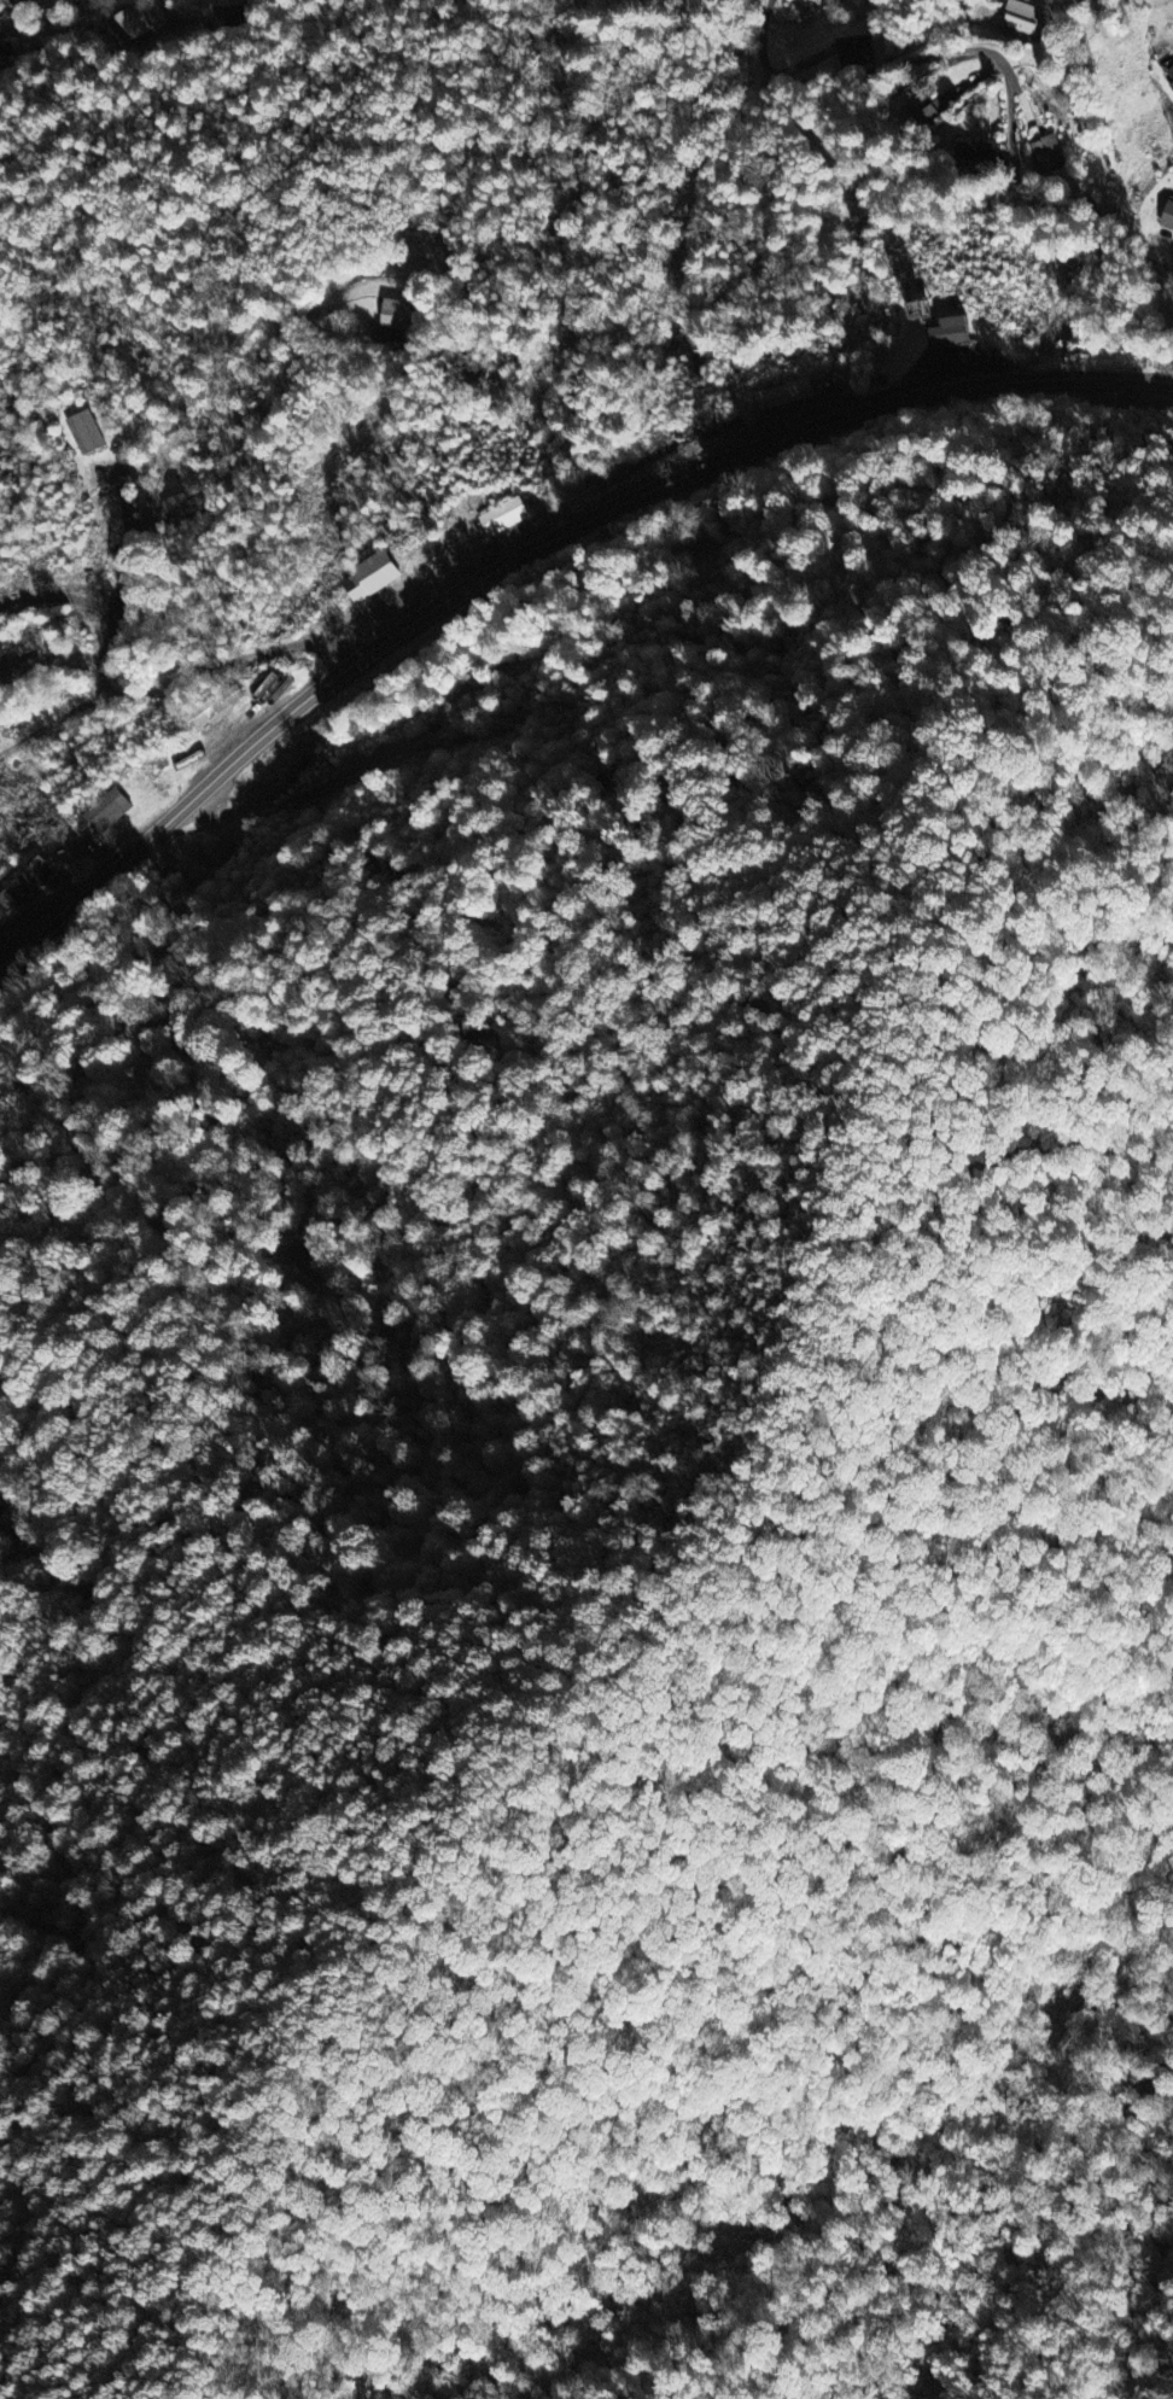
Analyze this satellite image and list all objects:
building: (1086, 1)
road: (164, 4)
building: (1023, 18)
building: (132, 25)
road: (894, 31)
building: (1171, 74)
building: (1171, 88)
building: (920, 112)
building: (1049, 156)
building: (1168, 217)
road: (1172, 243)
road: (473, 269)
building: (399, 315)
building: (951, 333)
building: (788, 396)
building: (87, 433)
building: (506, 518)
road: (526, 553)
road: (128, 570)
building: (372, 579)
building: (22, 672)
road: (54, 722)
building: (109, 813)
building: (24, 888)

